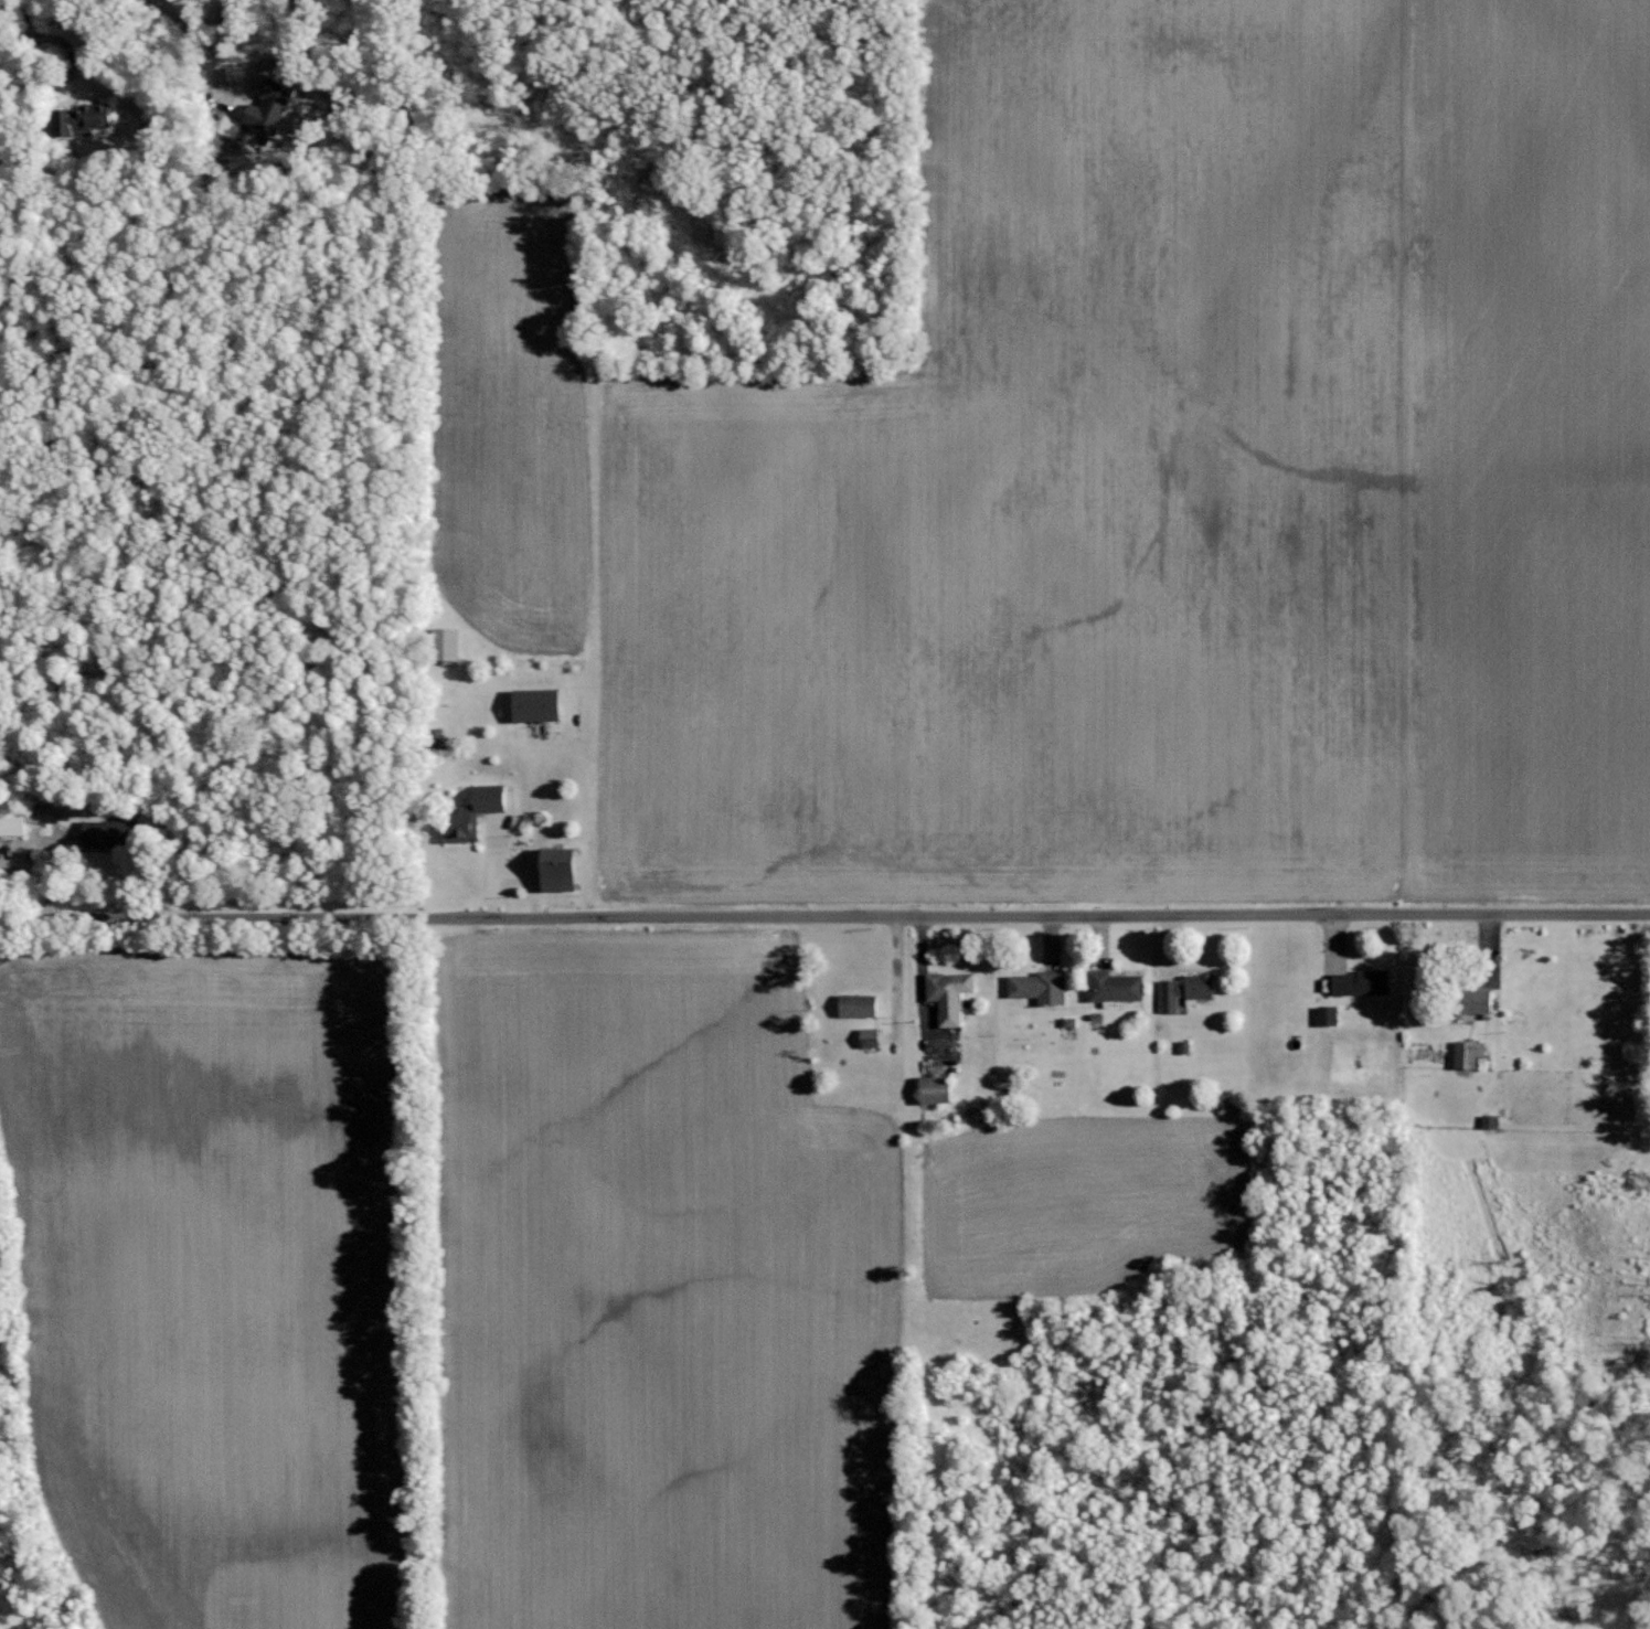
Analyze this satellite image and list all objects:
road: (58, 30)
building: (273, 106)
building: (87, 116)
building: (448, 643)
building: (541, 704)
building: (478, 812)
building: (24, 819)
building: (108, 833)
building: (562, 869)
road: (824, 914)
building: (1363, 982)
building: (1042, 987)
building: (1117, 987)
building: (1188, 990)
building: (951, 994)
building: (860, 1005)
building: (1329, 1015)
building: (1071, 1022)
building: (871, 1037)
building: (1471, 1054)
building: (938, 1089)
building: (1490, 1121)

